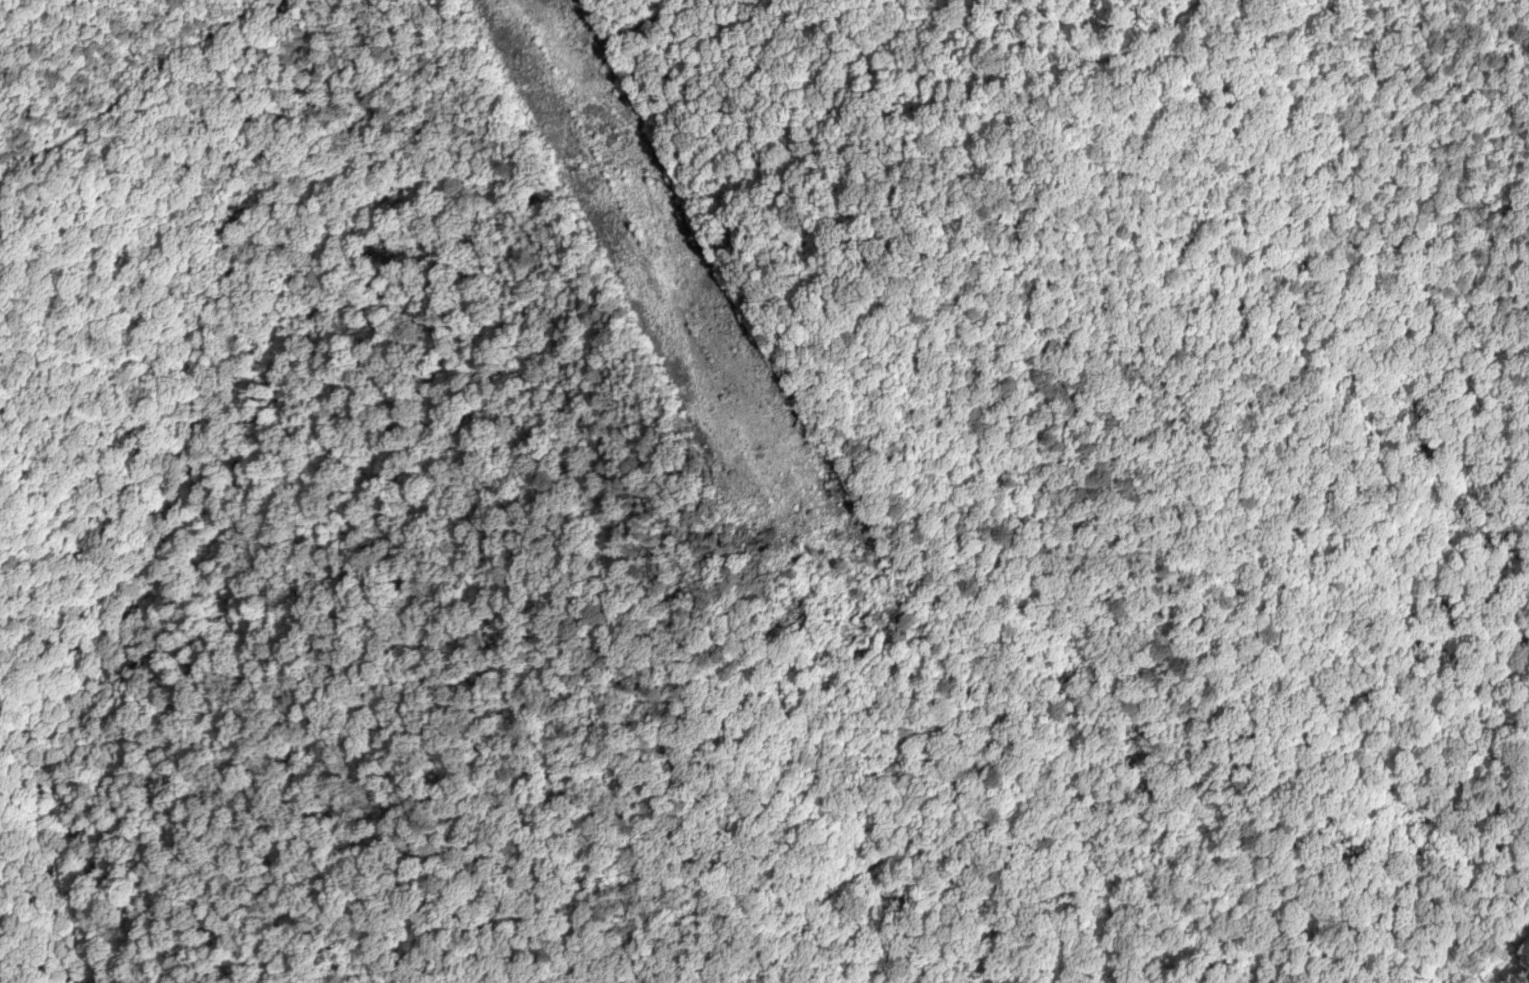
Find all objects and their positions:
road: (110, 80)

